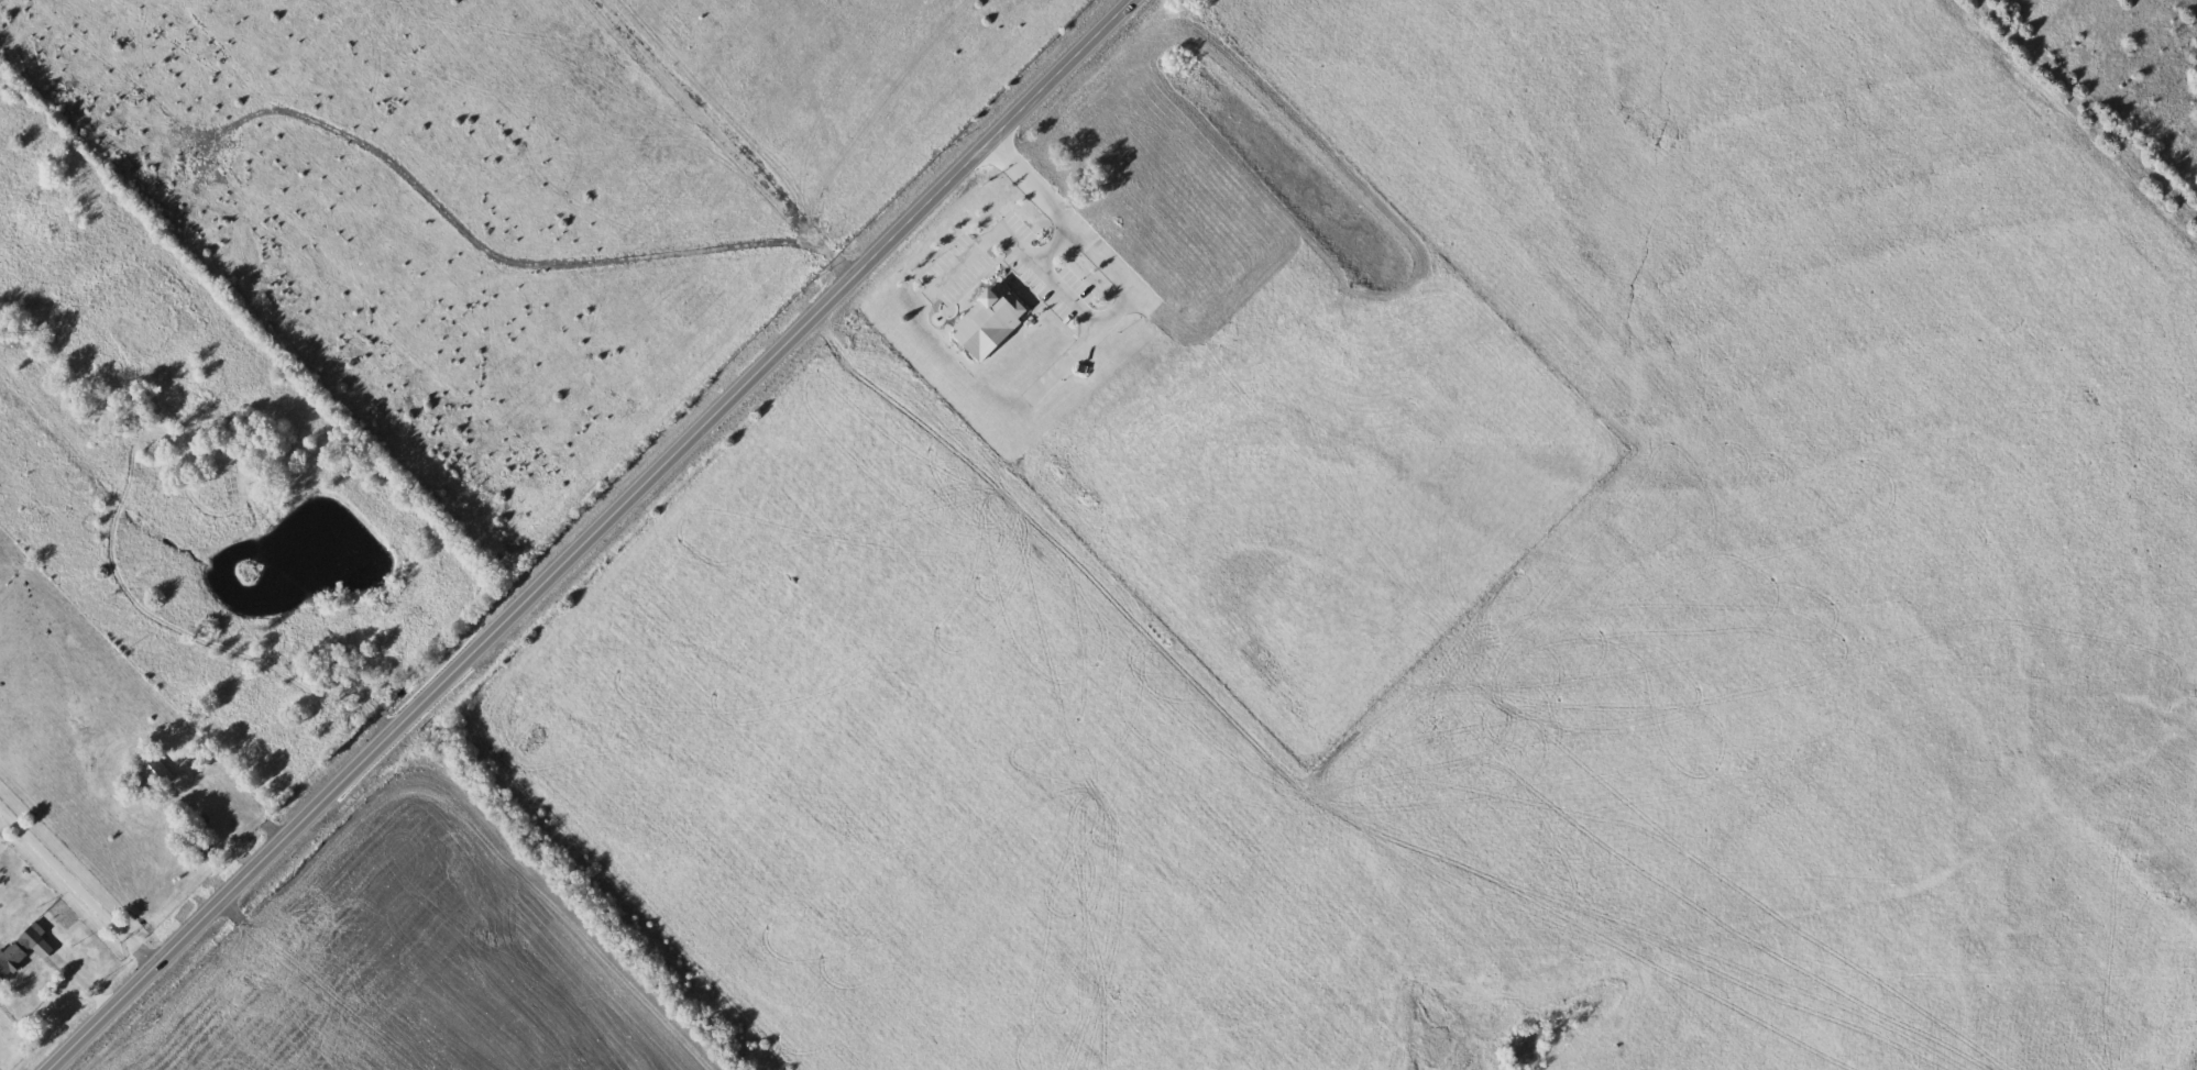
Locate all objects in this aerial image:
road: (982, 245)
road: (1108, 272)
road: (1045, 279)
road: (594, 532)
building: (156, 772)
road: (78, 891)
building: (19, 951)

